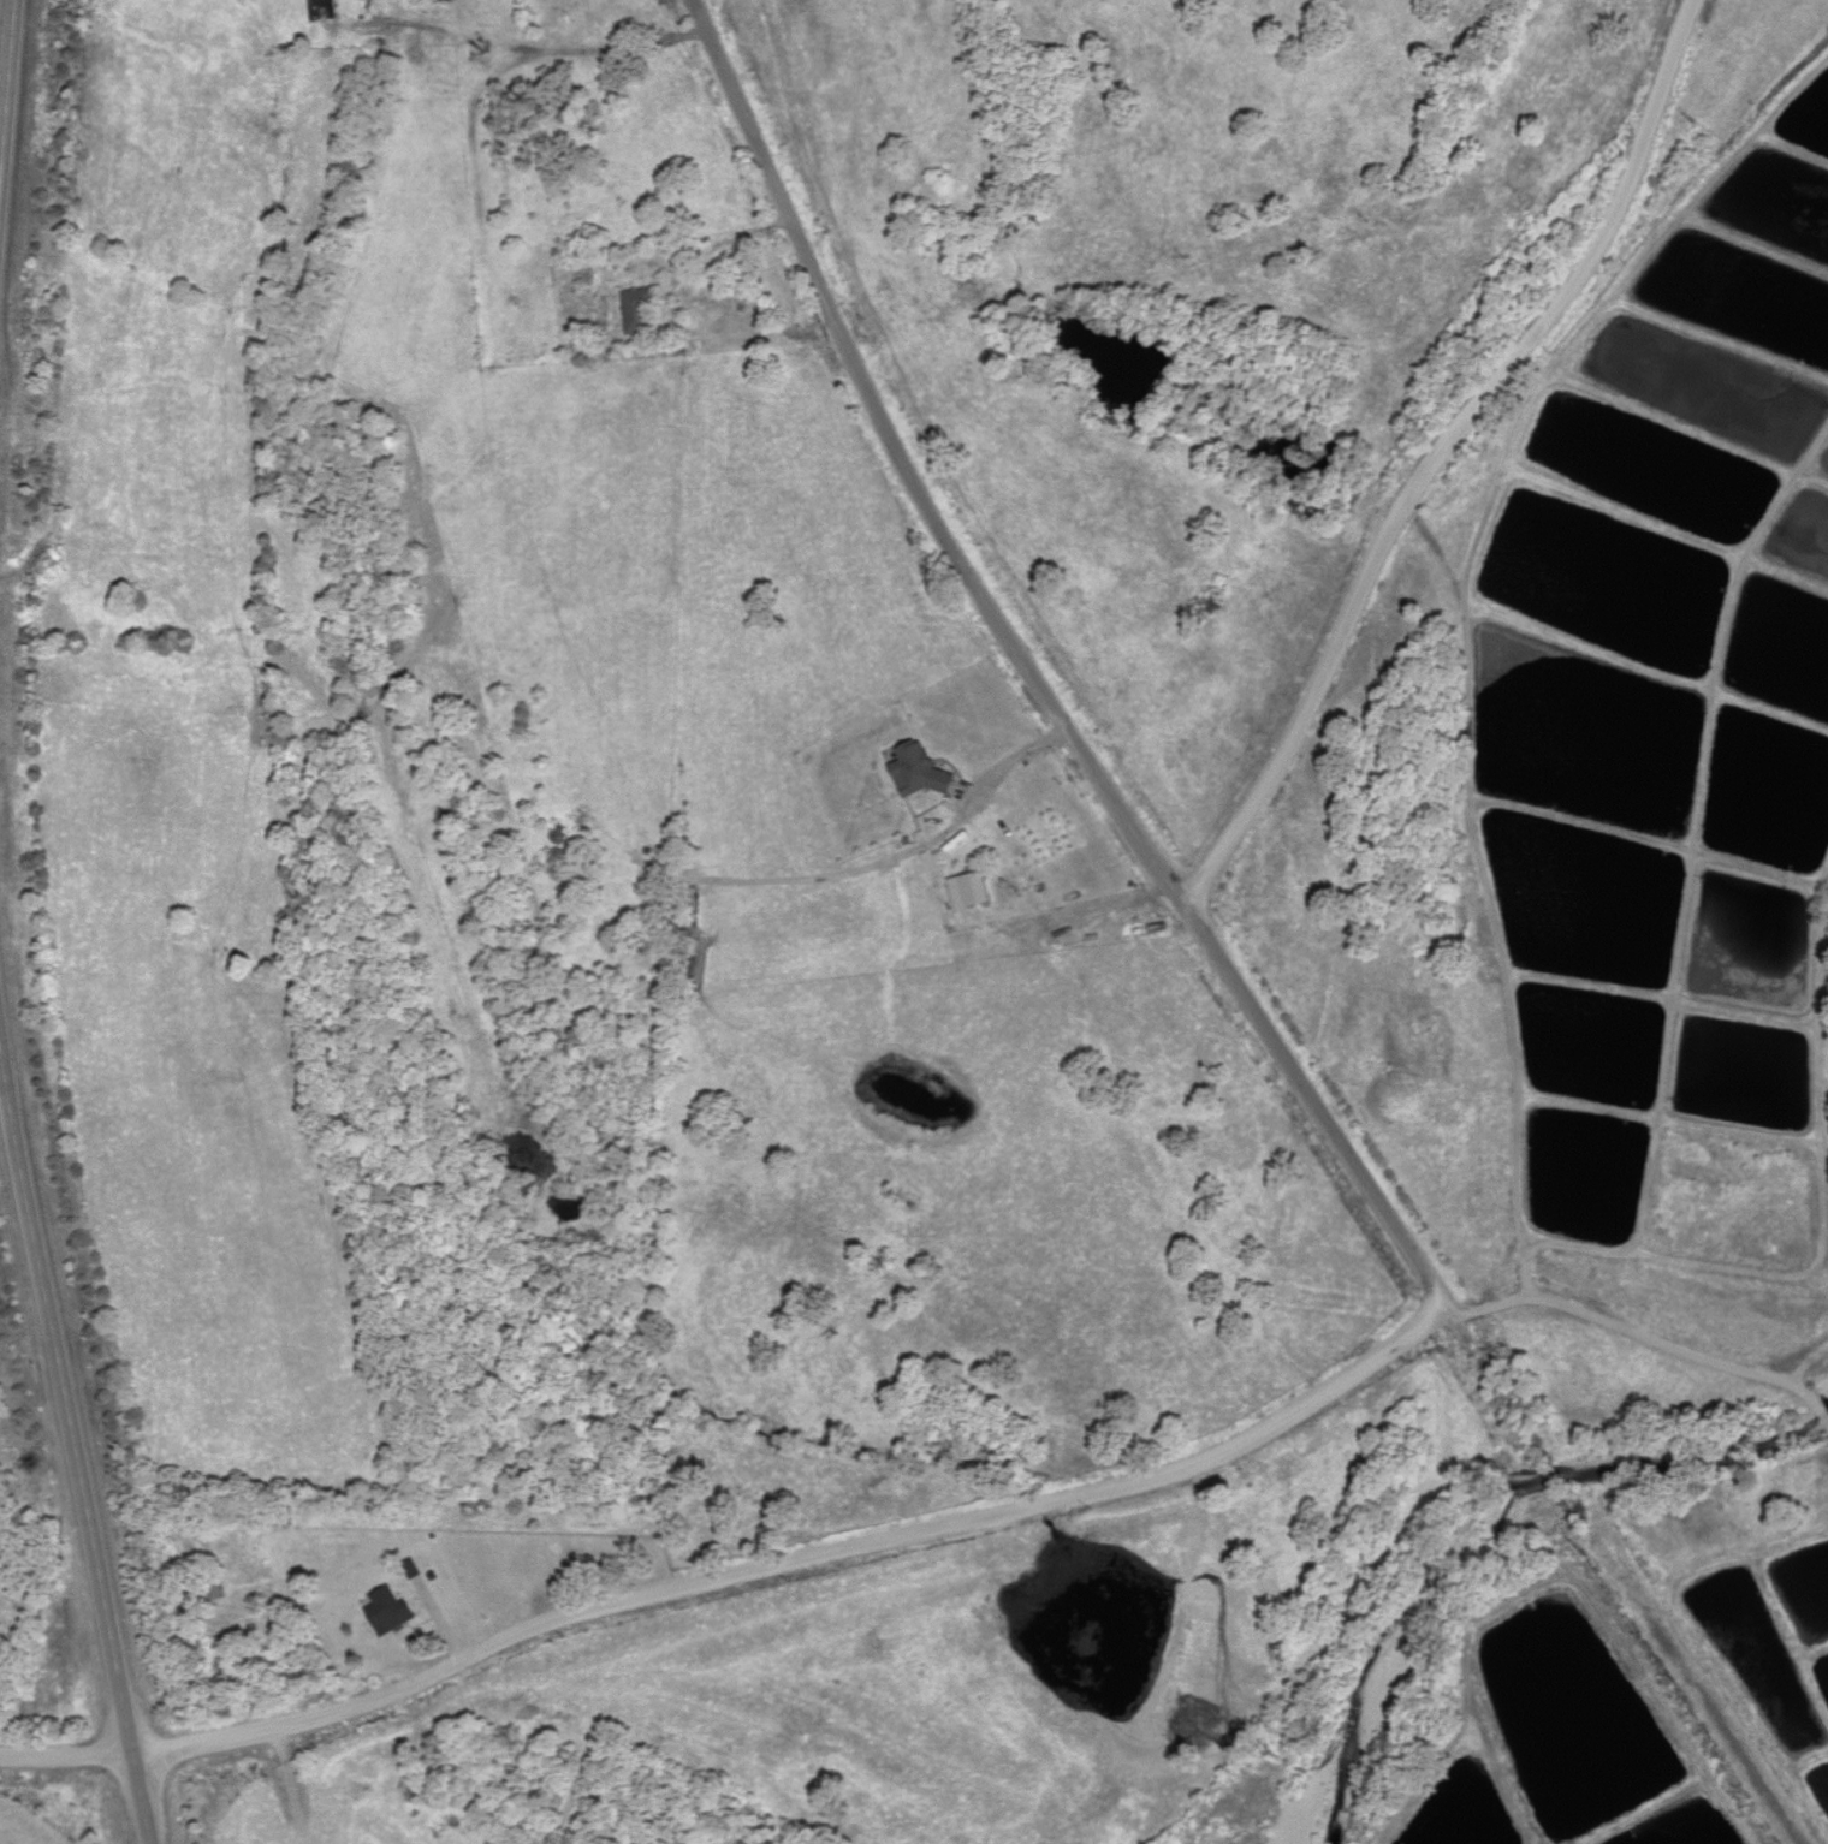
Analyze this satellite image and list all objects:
road: (5, 81)
building: (634, 313)
road: (1441, 451)
road: (1027, 671)
building: (913, 772)
building: (967, 891)
road: (1644, 1338)
road: (69, 1464)
road: (734, 1581)
building: (386, 1612)

